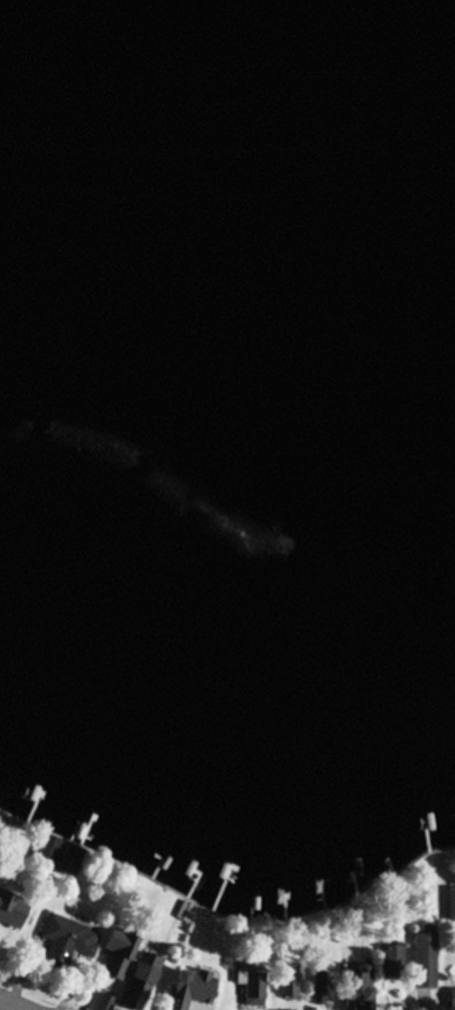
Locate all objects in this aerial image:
building: (58, 853)
building: (451, 902)
building: (13, 906)
building: (69, 938)
building: (123, 943)
building: (152, 952)
building: (425, 958)
building: (393, 960)
building: (352, 982)
building: (289, 983)
building: (323, 983)
building: (255, 986)
building: (190, 987)
building: (452, 996)
road: (10, 1005)

